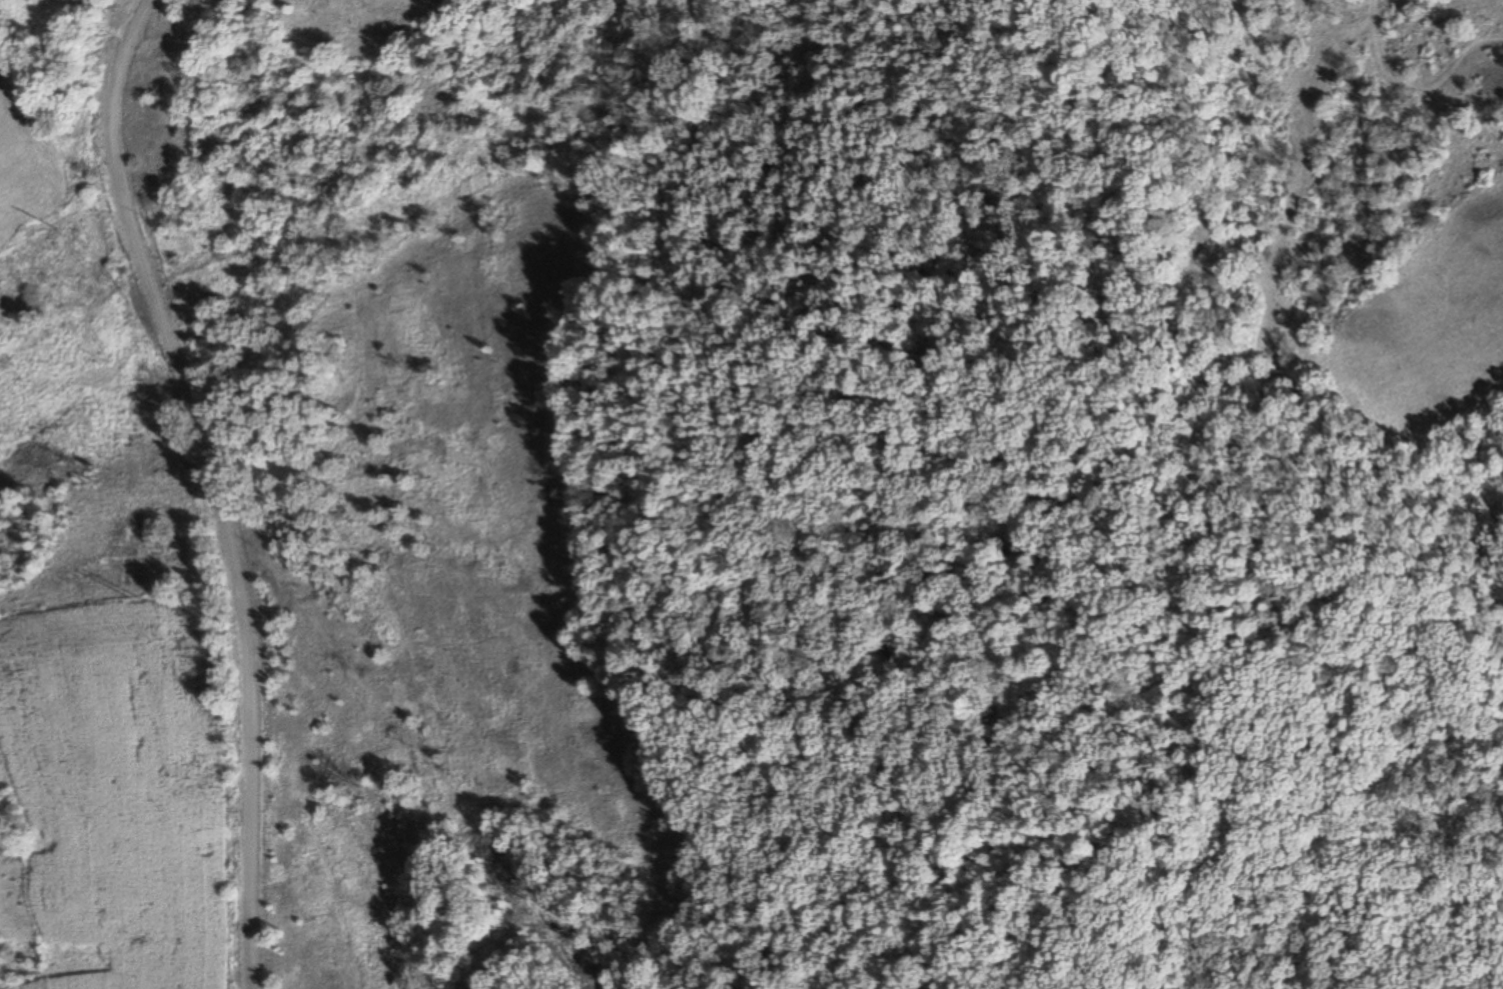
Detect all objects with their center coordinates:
road: (186, 486)
power tower: (135, 594)

